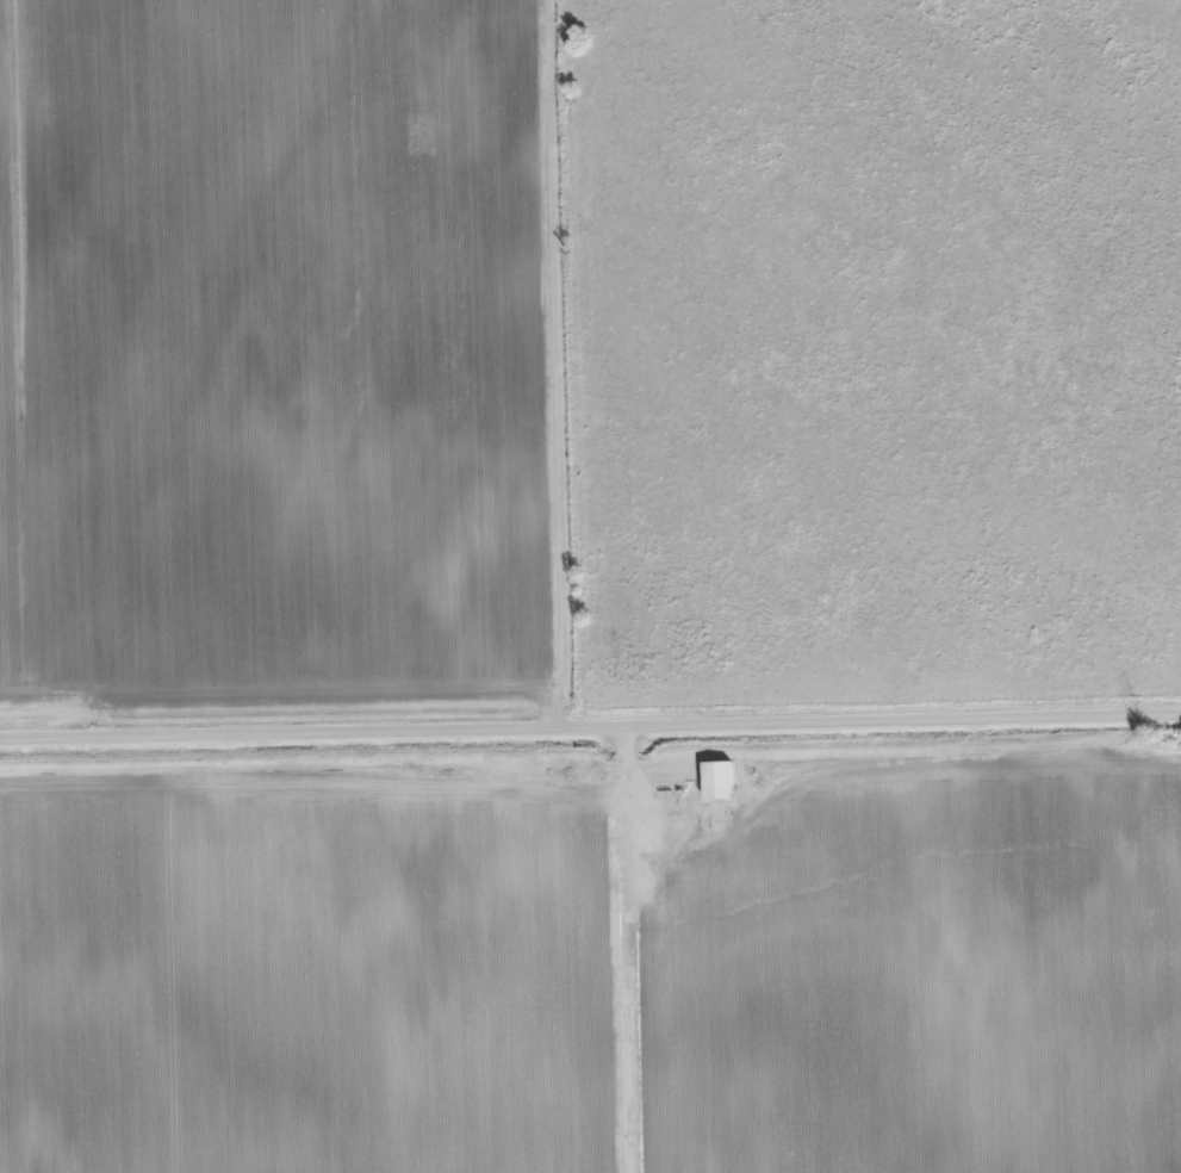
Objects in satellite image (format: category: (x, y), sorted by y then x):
road: (590, 722)

